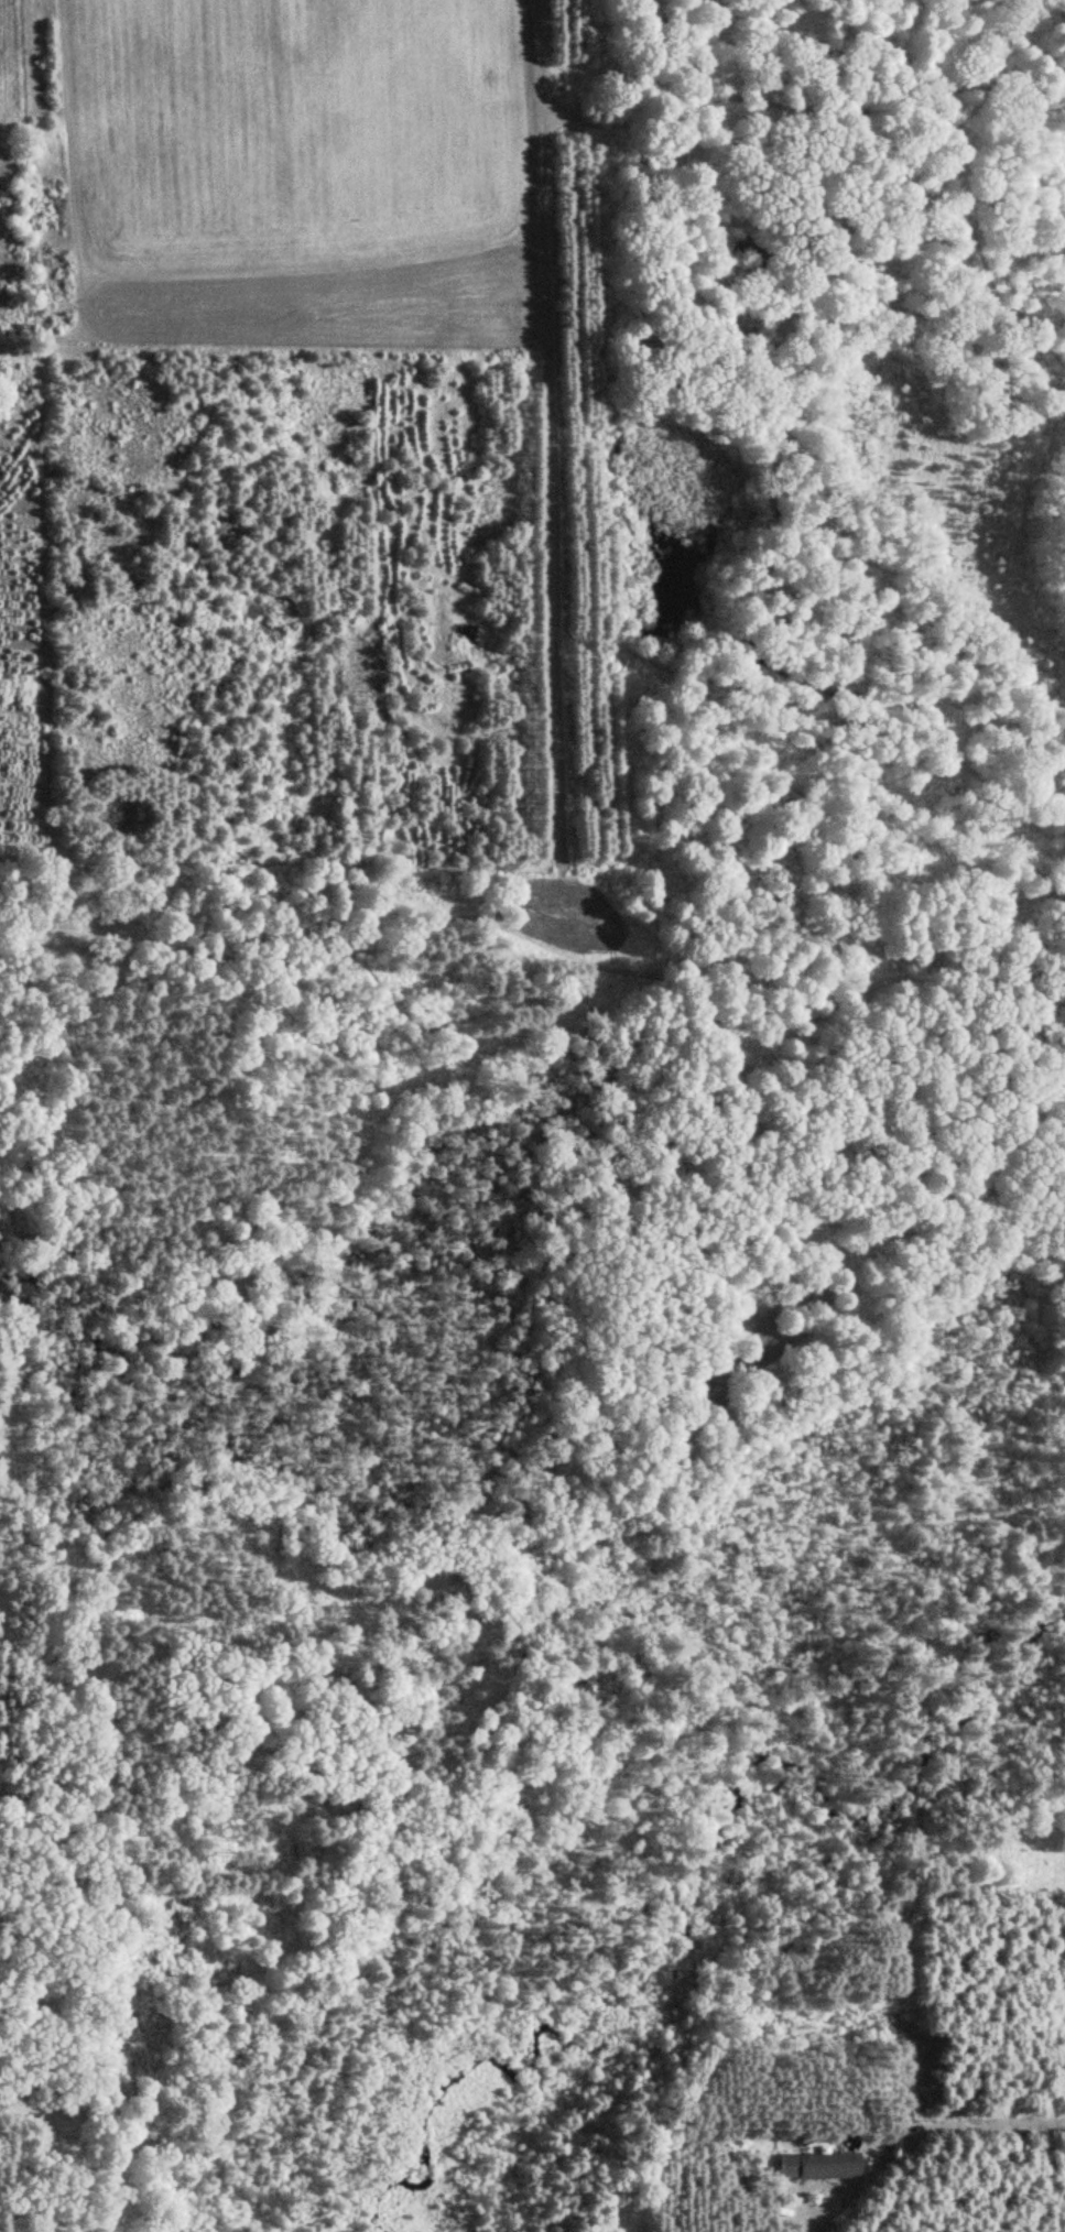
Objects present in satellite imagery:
building: (817, 2166)

